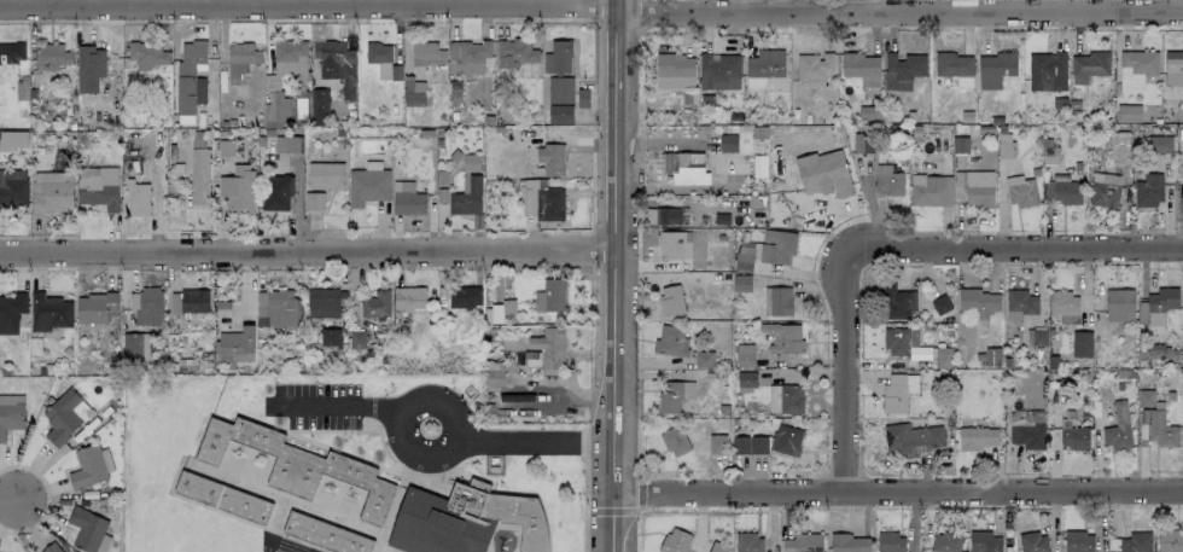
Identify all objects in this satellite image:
road: (309, 6)
road: (739, 6)
road: (861, 6)
road: (899, 12)
building: (10, 51)
building: (424, 52)
building: (146, 53)
building: (512, 53)
building: (52, 56)
building: (287, 57)
building: (377, 57)
building: (466, 57)
building: (558, 57)
building: (239, 59)
building: (333, 63)
building: (903, 64)
building: (811, 65)
building: (1086, 65)
building: (762, 66)
building: (952, 66)
building: (88, 68)
building: (716, 68)
building: (859, 68)
building: (993, 68)
building: (1172, 68)
building: (1134, 69)
building: (672, 70)
building: (1045, 70)
building: (186, 75)
building: (560, 91)
building: (413, 92)
building: (319, 105)
building: (275, 109)
building: (1127, 114)
building: (560, 115)
building: (759, 139)
building: (13, 140)
building: (862, 143)
building: (287, 144)
building: (1160, 144)
building: (1119, 150)
building: (550, 158)
building: (468, 167)
building: (688, 169)
building: (824, 173)
building: (199, 175)
building: (325, 175)
building: (887, 181)
building: (98, 186)
building: (367, 186)
building: (13, 187)
building: (975, 187)
building: (238, 190)
building: (929, 190)
building: (1103, 190)
building: (1148, 190)
building: (52, 191)
building: (276, 192)
building: (1021, 192)
building: (1063, 192)
building: (138, 198)
building: (407, 198)
building: (466, 198)
building: (313, 201)
building: (531, 202)
building: (549, 204)
road: (308, 242)
building: (671, 245)
building: (777, 246)
road: (892, 249)
building: (745, 255)
road: (614, 275)
building: (741, 283)
building: (549, 295)
building: (408, 297)
building: (464, 297)
building: (670, 300)
building: (188, 301)
building: (777, 301)
building: (324, 302)
building: (896, 302)
building: (977, 302)
building: (375, 304)
building: (939, 304)
building: (148, 306)
building: (1020, 306)
building: (1119, 306)
building: (1156, 306)
building: (95, 307)
building: (1063, 307)
building: (275, 308)
building: (500, 310)
building: (11, 312)
building: (49, 312)
building: (330, 337)
building: (782, 337)
building: (356, 338)
building: (670, 341)
building: (898, 341)
building: (549, 343)
building: (1082, 343)
building: (237, 344)
building: (135, 348)
building: (745, 355)
building: (943, 356)
building: (990, 356)
building: (531, 359)
building: (704, 359)
building: (494, 373)
building: (897, 393)
building: (674, 395)
building: (785, 399)
building: (1146, 399)
parking lot: (320, 405)
road: (344, 405)
road: (409, 407)
building: (11, 413)
building: (64, 416)
building: (1182, 422)
building: (1117, 428)
building: (1156, 428)
building: (1027, 435)
building: (1073, 435)
building: (977, 437)
building: (911, 438)
building: (785, 440)
building: (675, 441)
road: (534, 442)
building: (717, 444)
building: (750, 444)
building: (297, 464)
building: (91, 466)
road: (896, 494)
road: (11, 506)
building: (464, 519)
building: (88, 530)
building: (325, 534)
building: (674, 540)
building: (1078, 541)
building: (1170, 541)
building: (748, 542)
building: (802, 542)
building: (849, 542)
building: (890, 542)
building: (944, 542)
building: (984, 542)
building: (1032, 542)
building: (1135, 542)
building: (717, 547)
building: (51, 548)

